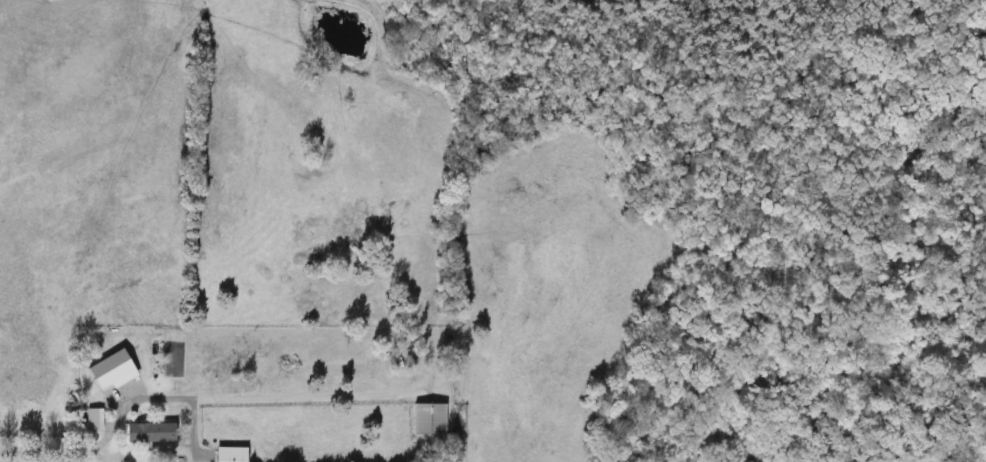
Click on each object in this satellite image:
building: (121, 377)
building: (426, 419)
building: (154, 433)
road: (50, 454)
building: (234, 454)

